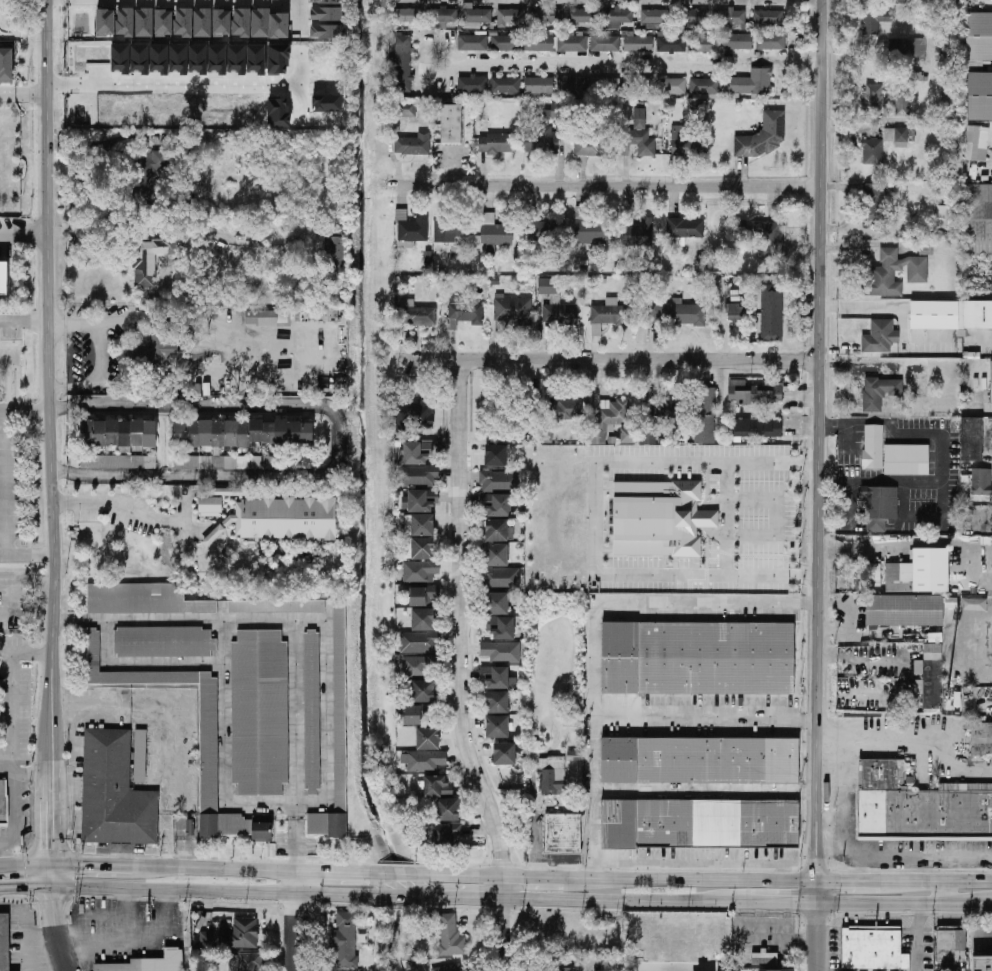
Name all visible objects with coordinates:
building: (326, 1)
road: (298, 14)
building: (326, 14)
building: (476, 14)
building: (408, 15)
building: (581, 15)
building: (510, 16)
building: (655, 16)
building: (442, 17)
building: (546, 17)
building: (615, 17)
building: (697, 17)
building: (768, 17)
building: (731, 18)
building: (874, 20)
building: (125, 21)
building: (105, 22)
building: (144, 22)
building: (163, 22)
building: (183, 22)
building: (202, 22)
building: (221, 22)
building: (241, 22)
building: (260, 22)
building: (279, 25)
building: (471, 25)
building: (326, 31)
building: (979, 36)
building: (509, 41)
building: (571, 41)
building: (737, 41)
building: (770, 41)
building: (472, 42)
building: (538, 43)
building: (605, 43)
building: (638, 43)
building: (671, 43)
building: (704, 43)
building: (916, 49)
building: (120, 58)
building: (140, 58)
building: (169, 58)
building: (198, 58)
building: (217, 58)
building: (237, 58)
building: (256, 58)
building: (278, 59)
building: (402, 64)
building: (6, 65)
road: (624, 65)
road: (302, 81)
building: (751, 82)
road: (54, 83)
road: (183, 84)
building: (472, 84)
building: (505, 85)
building: (672, 85)
building: (538, 86)
building: (605, 86)
building: (637, 86)
building: (572, 87)
building: (704, 88)
building: (873, 95)
building: (979, 95)
road: (23, 96)
building: (902, 104)
building: (406, 109)
building: (451, 123)
building: (895, 134)
building: (637, 136)
building: (763, 136)
building: (681, 139)
road: (102, 140)
building: (542, 140)
building: (495, 143)
building: (976, 143)
building: (413, 144)
building: (589, 147)
building: (872, 151)
building: (148, 175)
road: (612, 186)
building: (873, 201)
building: (977, 219)
building: (590, 227)
building: (410, 229)
building: (450, 229)
building: (685, 229)
building: (540, 230)
road: (99, 231)
building: (496, 231)
building: (640, 233)
road: (23, 236)
building: (768, 238)
building: (335, 246)
building: (150, 259)
building: (894, 273)
building: (3, 278)
building: (555, 303)
building: (466, 311)
building: (512, 311)
building: (736, 312)
building: (416, 313)
building: (772, 313)
building: (607, 314)
building: (676, 314)
building: (951, 314)
road: (157, 317)
building: (267, 317)
road: (24, 321)
building: (880, 336)
road: (955, 336)
building: (160, 346)
road: (608, 360)
road: (96, 373)
building: (991, 381)
road: (48, 384)
building: (755, 392)
building: (880, 392)
building: (661, 408)
building: (566, 409)
road: (24, 411)
building: (705, 414)
building: (416, 416)
building: (610, 418)
building: (755, 427)
building: (118, 432)
building: (238, 432)
building: (628, 435)
building: (648, 436)
road: (333, 437)
road: (940, 439)
building: (971, 439)
road: (818, 441)
building: (871, 445)
building: (417, 452)
building: (496, 455)
building: (906, 459)
building: (118, 461)
building: (210, 461)
building: (261, 461)
road: (772, 462)
road: (601, 463)
building: (417, 475)
building: (981, 481)
road: (3, 482)
building: (226, 491)
building: (420, 500)
building: (497, 504)
building: (210, 506)
building: (879, 506)
road: (131, 508)
building: (659, 518)
building: (282, 519)
building: (419, 524)
building: (498, 530)
road: (213, 533)
road: (920, 544)
building: (419, 548)
road: (195, 554)
road: (25, 555)
building: (499, 567)
building: (420, 571)
building: (919, 572)
building: (873, 575)
road: (11, 580)
road: (37, 580)
building: (418, 596)
building: (142, 599)
building: (497, 603)
building: (276, 605)
road: (22, 606)
road: (734, 606)
building: (904, 609)
building: (423, 619)
building: (500, 627)
building: (164, 641)
building: (416, 642)
building: (501, 651)
building: (698, 658)
building: (416, 665)
road: (462, 669)
building: (929, 676)
building: (497, 677)
road: (12, 690)
building: (423, 691)
building: (497, 702)
building: (260, 712)
building: (311, 712)
road: (629, 713)
building: (417, 714)
building: (497, 726)
road: (176, 729)
building: (336, 736)
building: (427, 738)
building: (981, 738)
building: (208, 748)
road: (904, 750)
building: (504, 753)
building: (139, 756)
building: (426, 760)
building: (700, 760)
building: (552, 774)
building: (437, 786)
road: (716, 791)
building: (114, 792)
road: (15, 795)
building: (3, 801)
road: (840, 802)
building: (919, 805)
building: (447, 809)
road: (50, 816)
road: (614, 816)
building: (700, 823)
building: (262, 831)
building: (447, 833)
building: (562, 833)
traffic signals: (50, 845)
road: (848, 850)
road: (911, 855)
road: (25, 864)
traffic signals: (83, 864)
road: (92, 864)
road: (705, 864)
road: (216, 867)
road: (335, 872)
road: (51, 874)
road: (436, 875)
road: (531, 878)
road: (689, 879)
road: (853, 881)
road: (941, 881)
traffic signals: (23, 885)
road: (25, 885)
road: (236, 891)
road: (947, 892)
road: (462, 897)
road: (621, 900)
road: (779, 903)
road: (904, 904)
traffic signals: (53, 907)
road: (53, 908)
road: (103, 914)
road: (297, 921)
road: (131, 925)
road: (817, 926)
building: (240, 933)
building: (450, 935)
road: (133, 937)
building: (203, 938)
building: (345, 940)
building: (4, 943)
building: (873, 948)
road: (64, 951)
building: (764, 958)
building: (245, 962)
building: (149, 963)
building: (982, 963)
building: (451, 967)
road: (901, 967)
building: (567, 969)
building: (776, 970)

